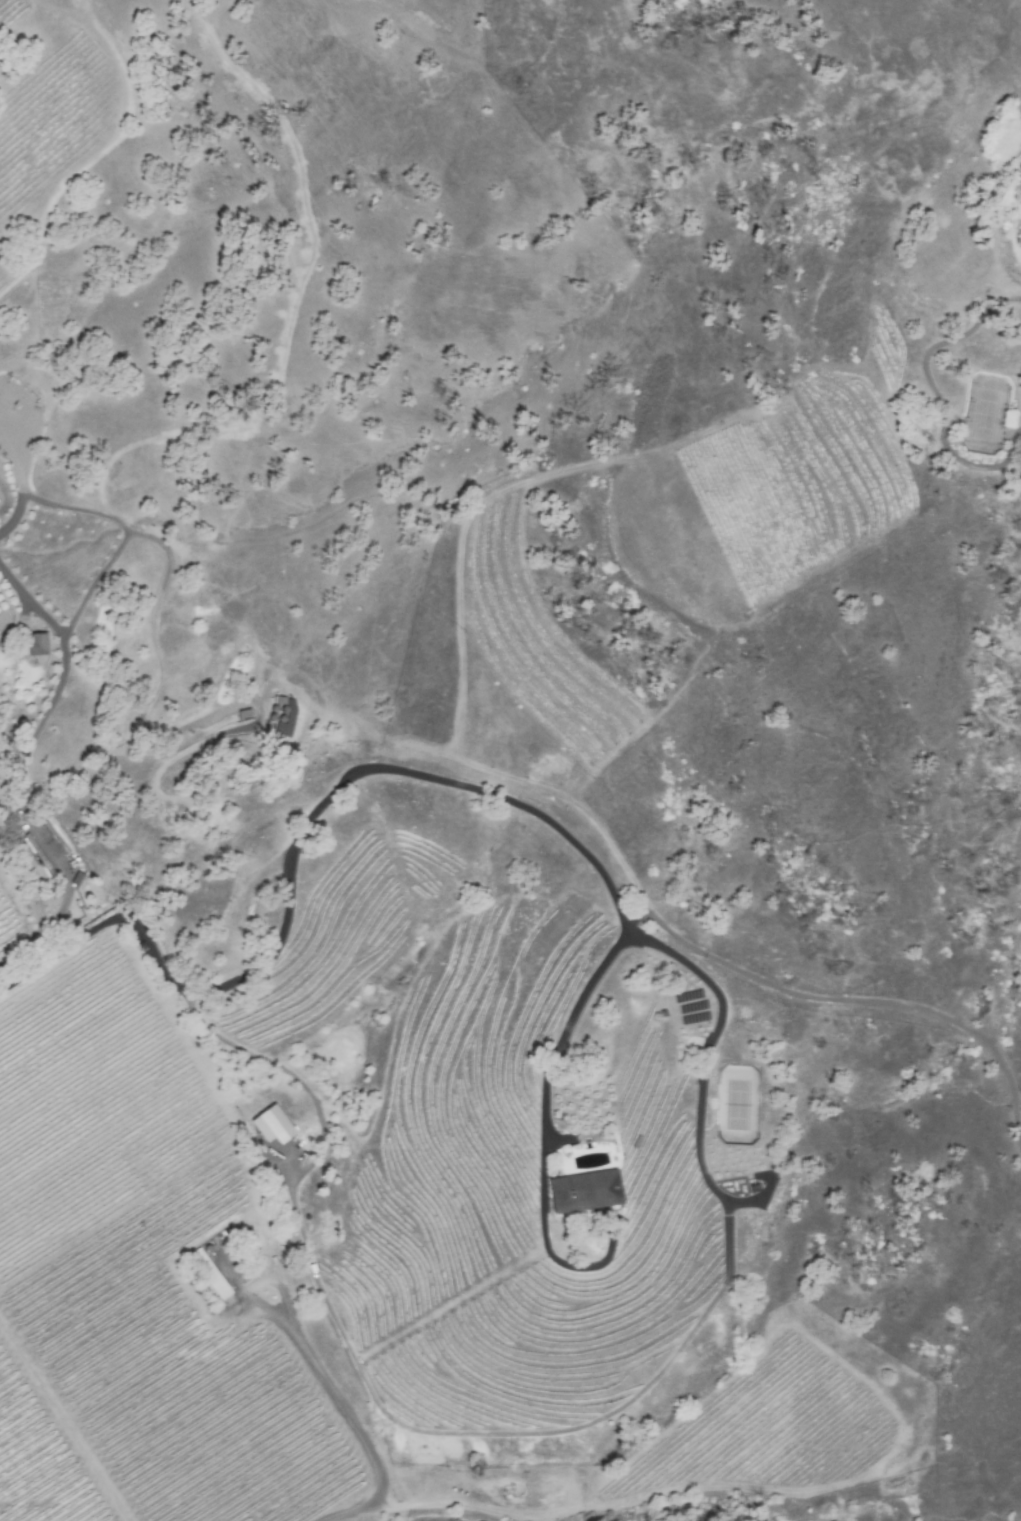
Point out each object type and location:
building: (1020, 246)
road: (18, 486)
road: (125, 537)
building: (36, 643)
road: (62, 670)
road: (159, 679)
road: (293, 851)
road: (634, 917)
road: (864, 1001)
road: (557, 1042)
road: (702, 1065)
building: (273, 1125)
building: (583, 1190)
building: (208, 1275)
road: (258, 1285)
road: (359, 1434)

